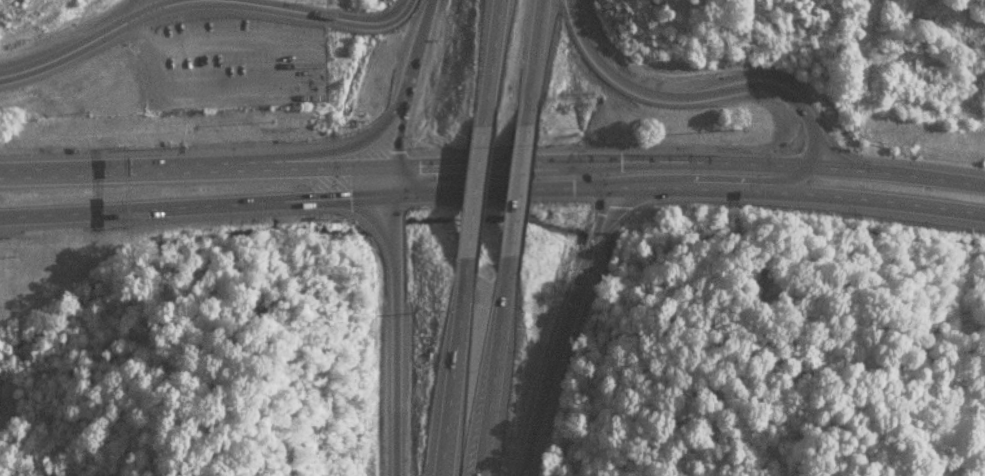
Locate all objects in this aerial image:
road: (299, 12)
road: (77, 44)
road: (489, 57)
road: (529, 57)
road: (414, 82)
road: (716, 91)
road: (341, 148)
traffic signals: (594, 160)
road: (494, 161)
road: (790, 163)
traffic signals: (396, 165)
road: (305, 168)
road: (107, 169)
road: (607, 171)
road: (515, 186)
traffic signals: (616, 186)
road: (472, 187)
road: (502, 188)
road: (801, 191)
traffic signals: (389, 195)
road: (194, 206)
road: (590, 280)
road: (388, 320)
road: (452, 367)
road: (495, 367)
road: (548, 425)

